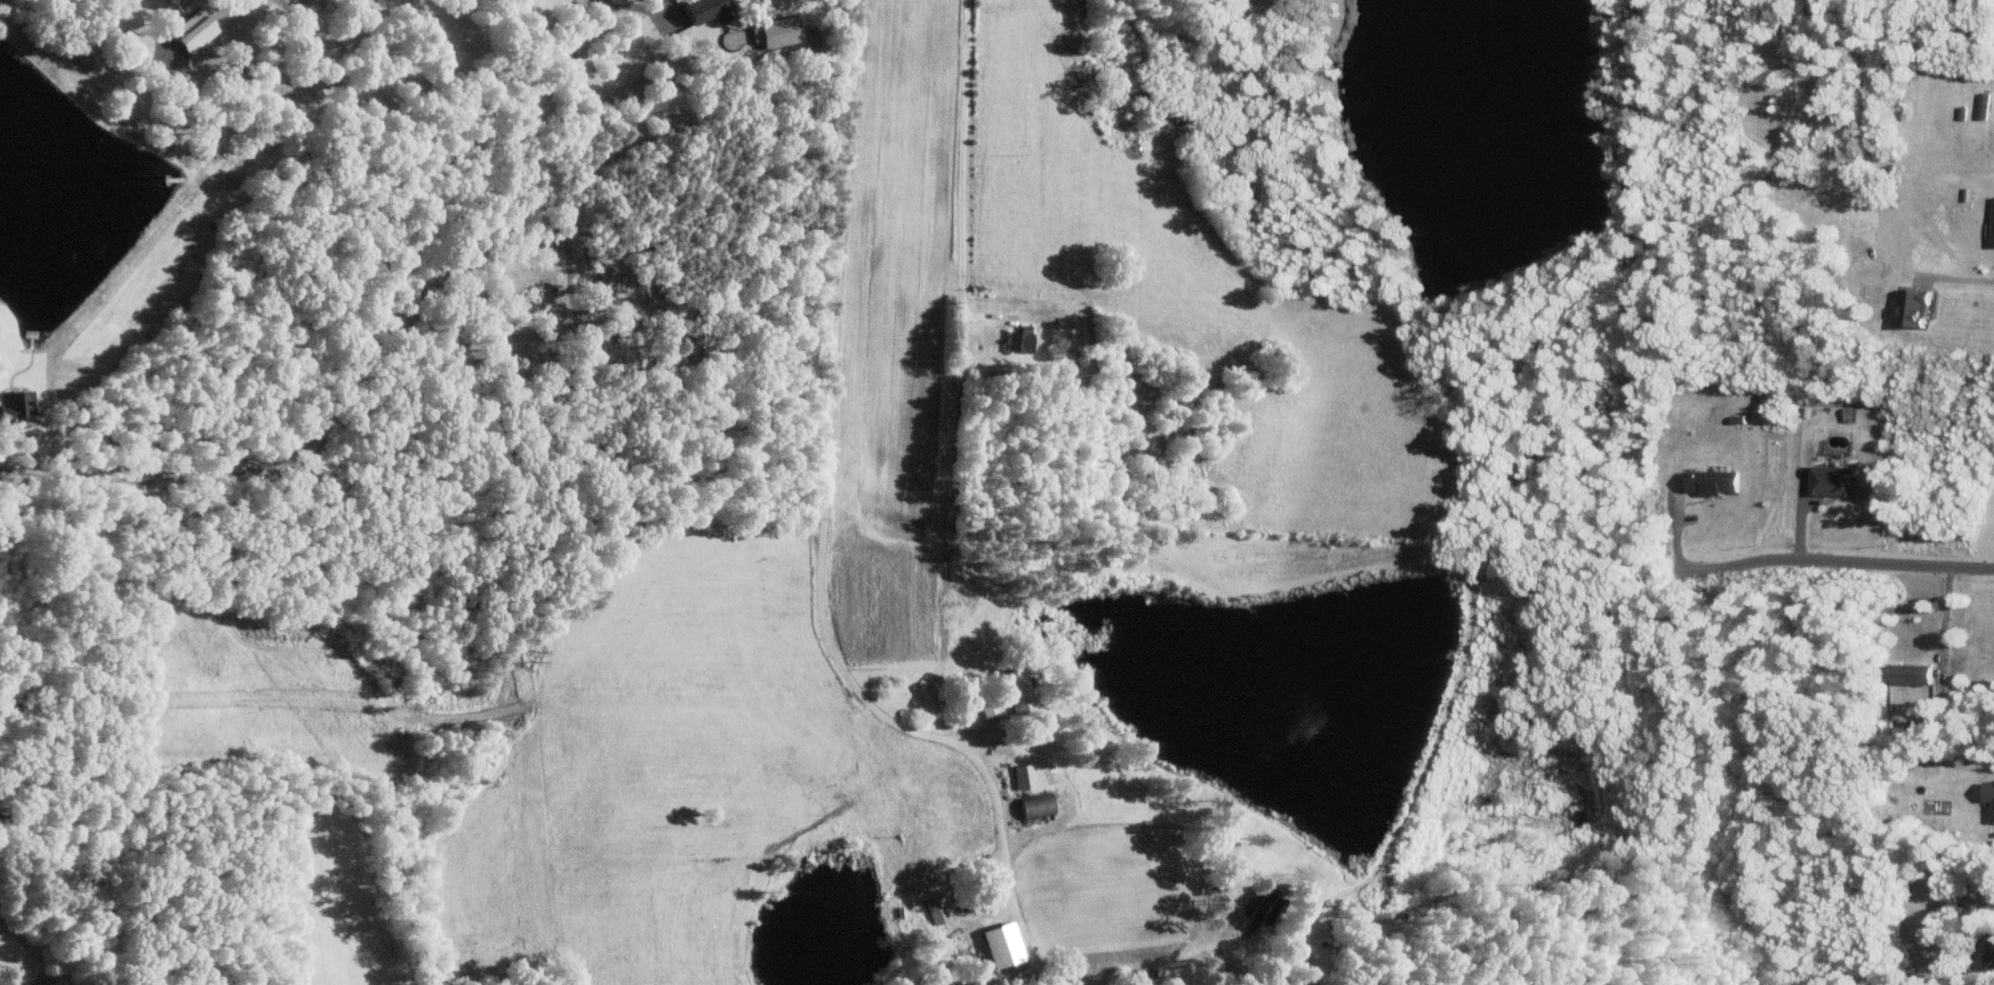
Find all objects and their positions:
road: (621, 5)
building: (711, 10)
building: (200, 29)
building: (782, 31)
road: (74, 64)
road: (644, 93)
building: (1984, 104)
building: (611, 277)
road: (1959, 278)
building: (1918, 307)
building: (1024, 339)
road: (333, 403)
building: (19, 406)
road: (834, 406)
road: (965, 410)
building: (1834, 480)
building: (1715, 481)
road: (1885, 563)
road: (1700, 566)
road: (1943, 614)
building: (1917, 673)
building: (1025, 692)
building: (996, 709)
building: (1027, 777)
building: (1989, 790)
building: (1042, 805)
road: (1006, 883)
building: (939, 910)
building: (1008, 945)

